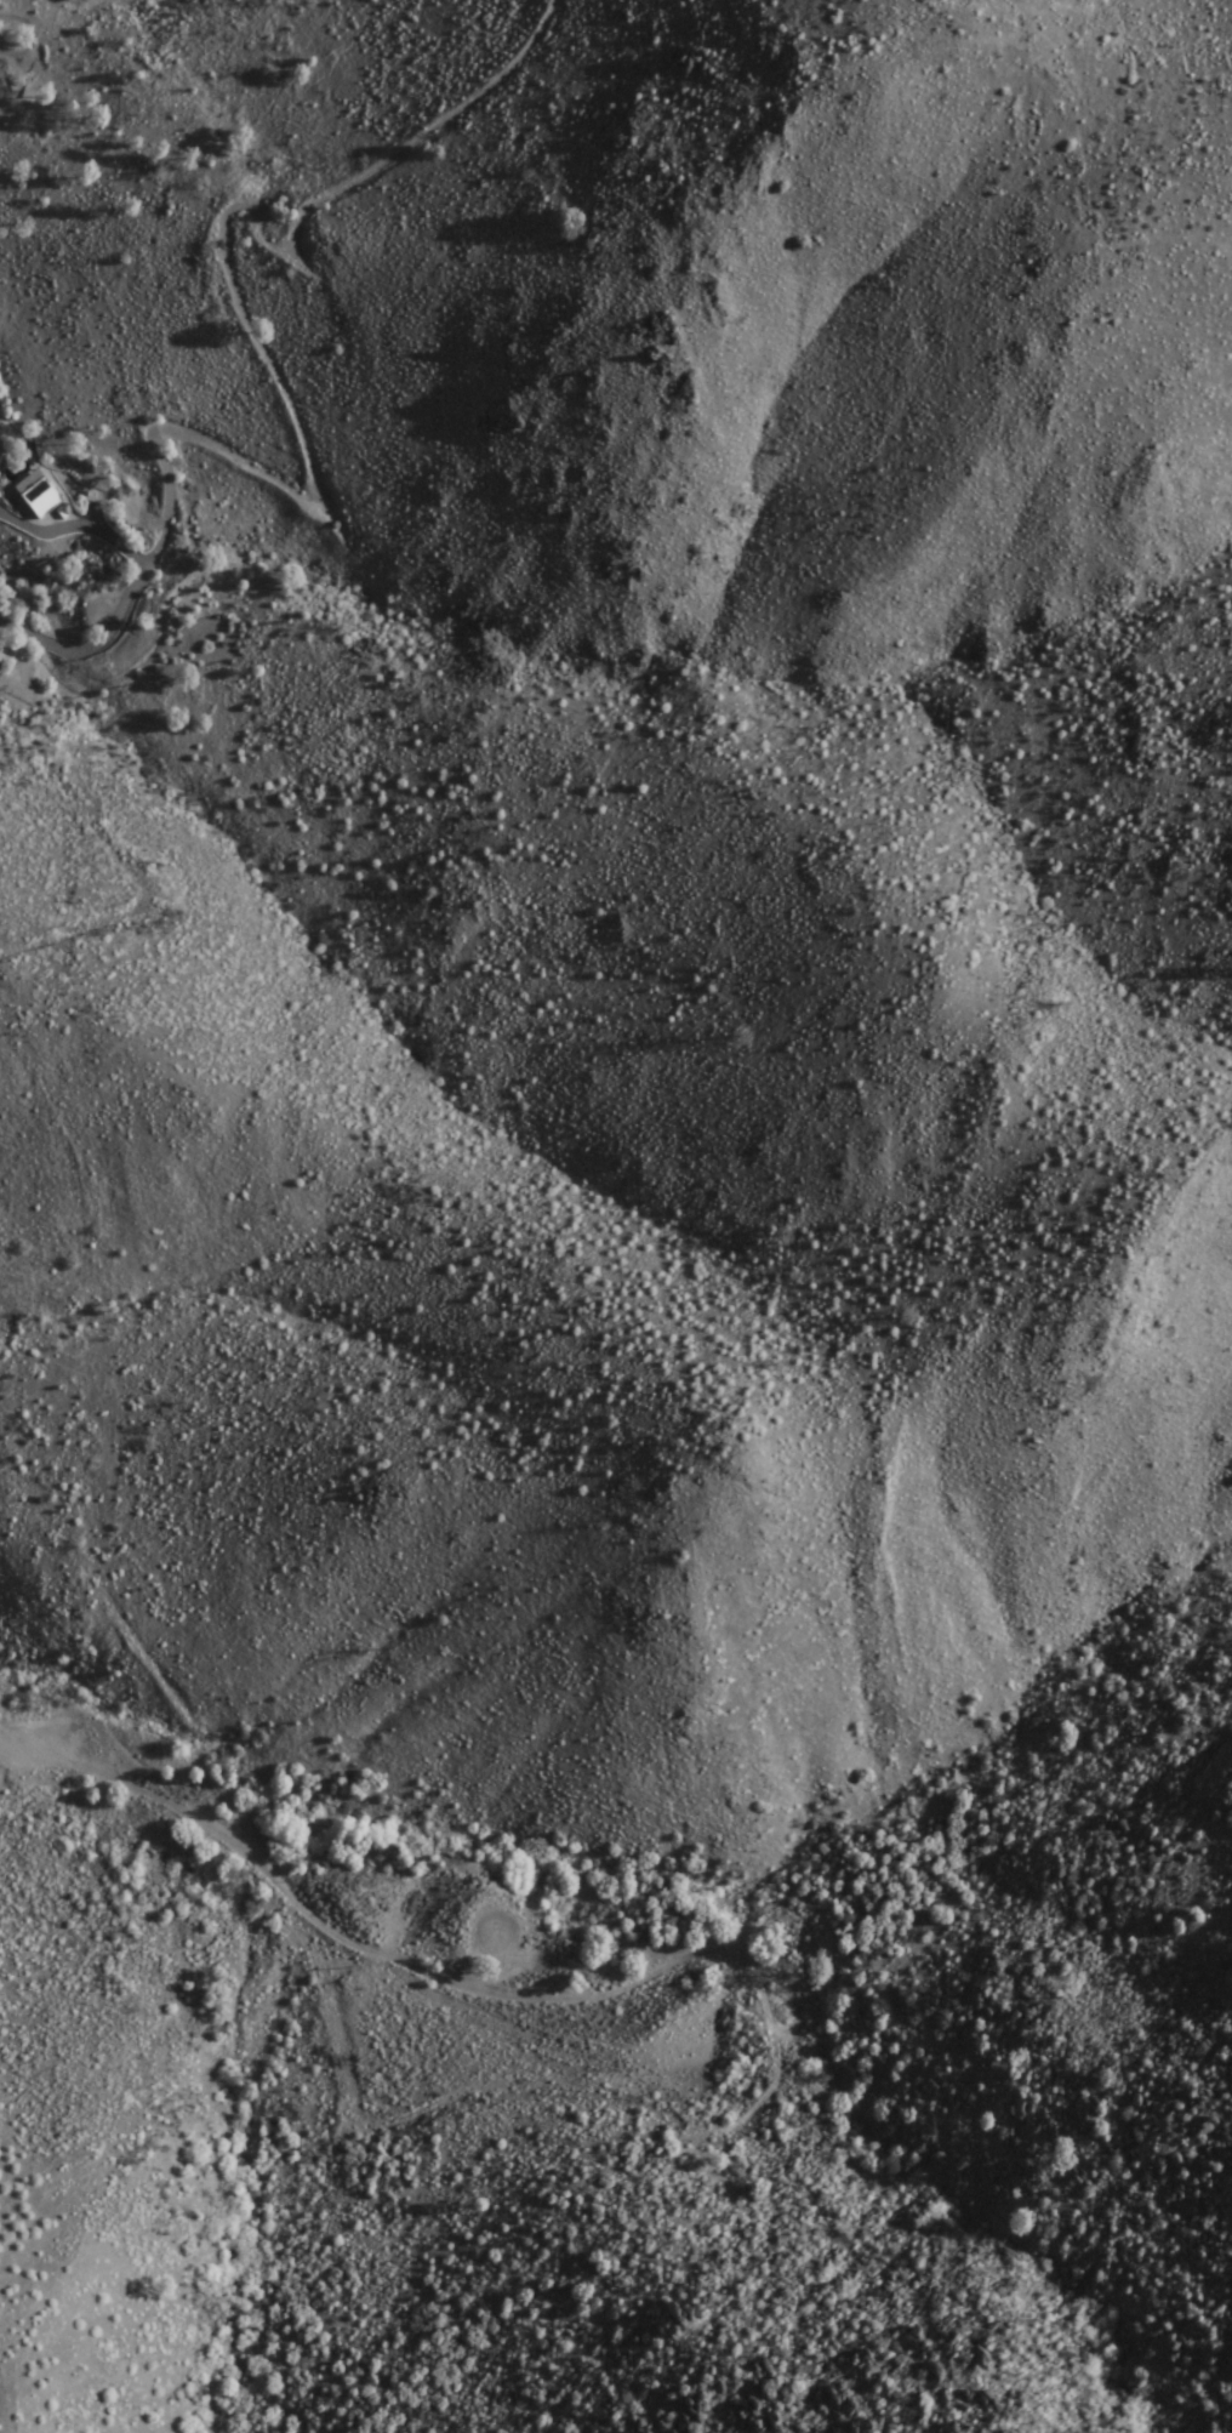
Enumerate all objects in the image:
building: (40, 494)
road: (346, 2035)

